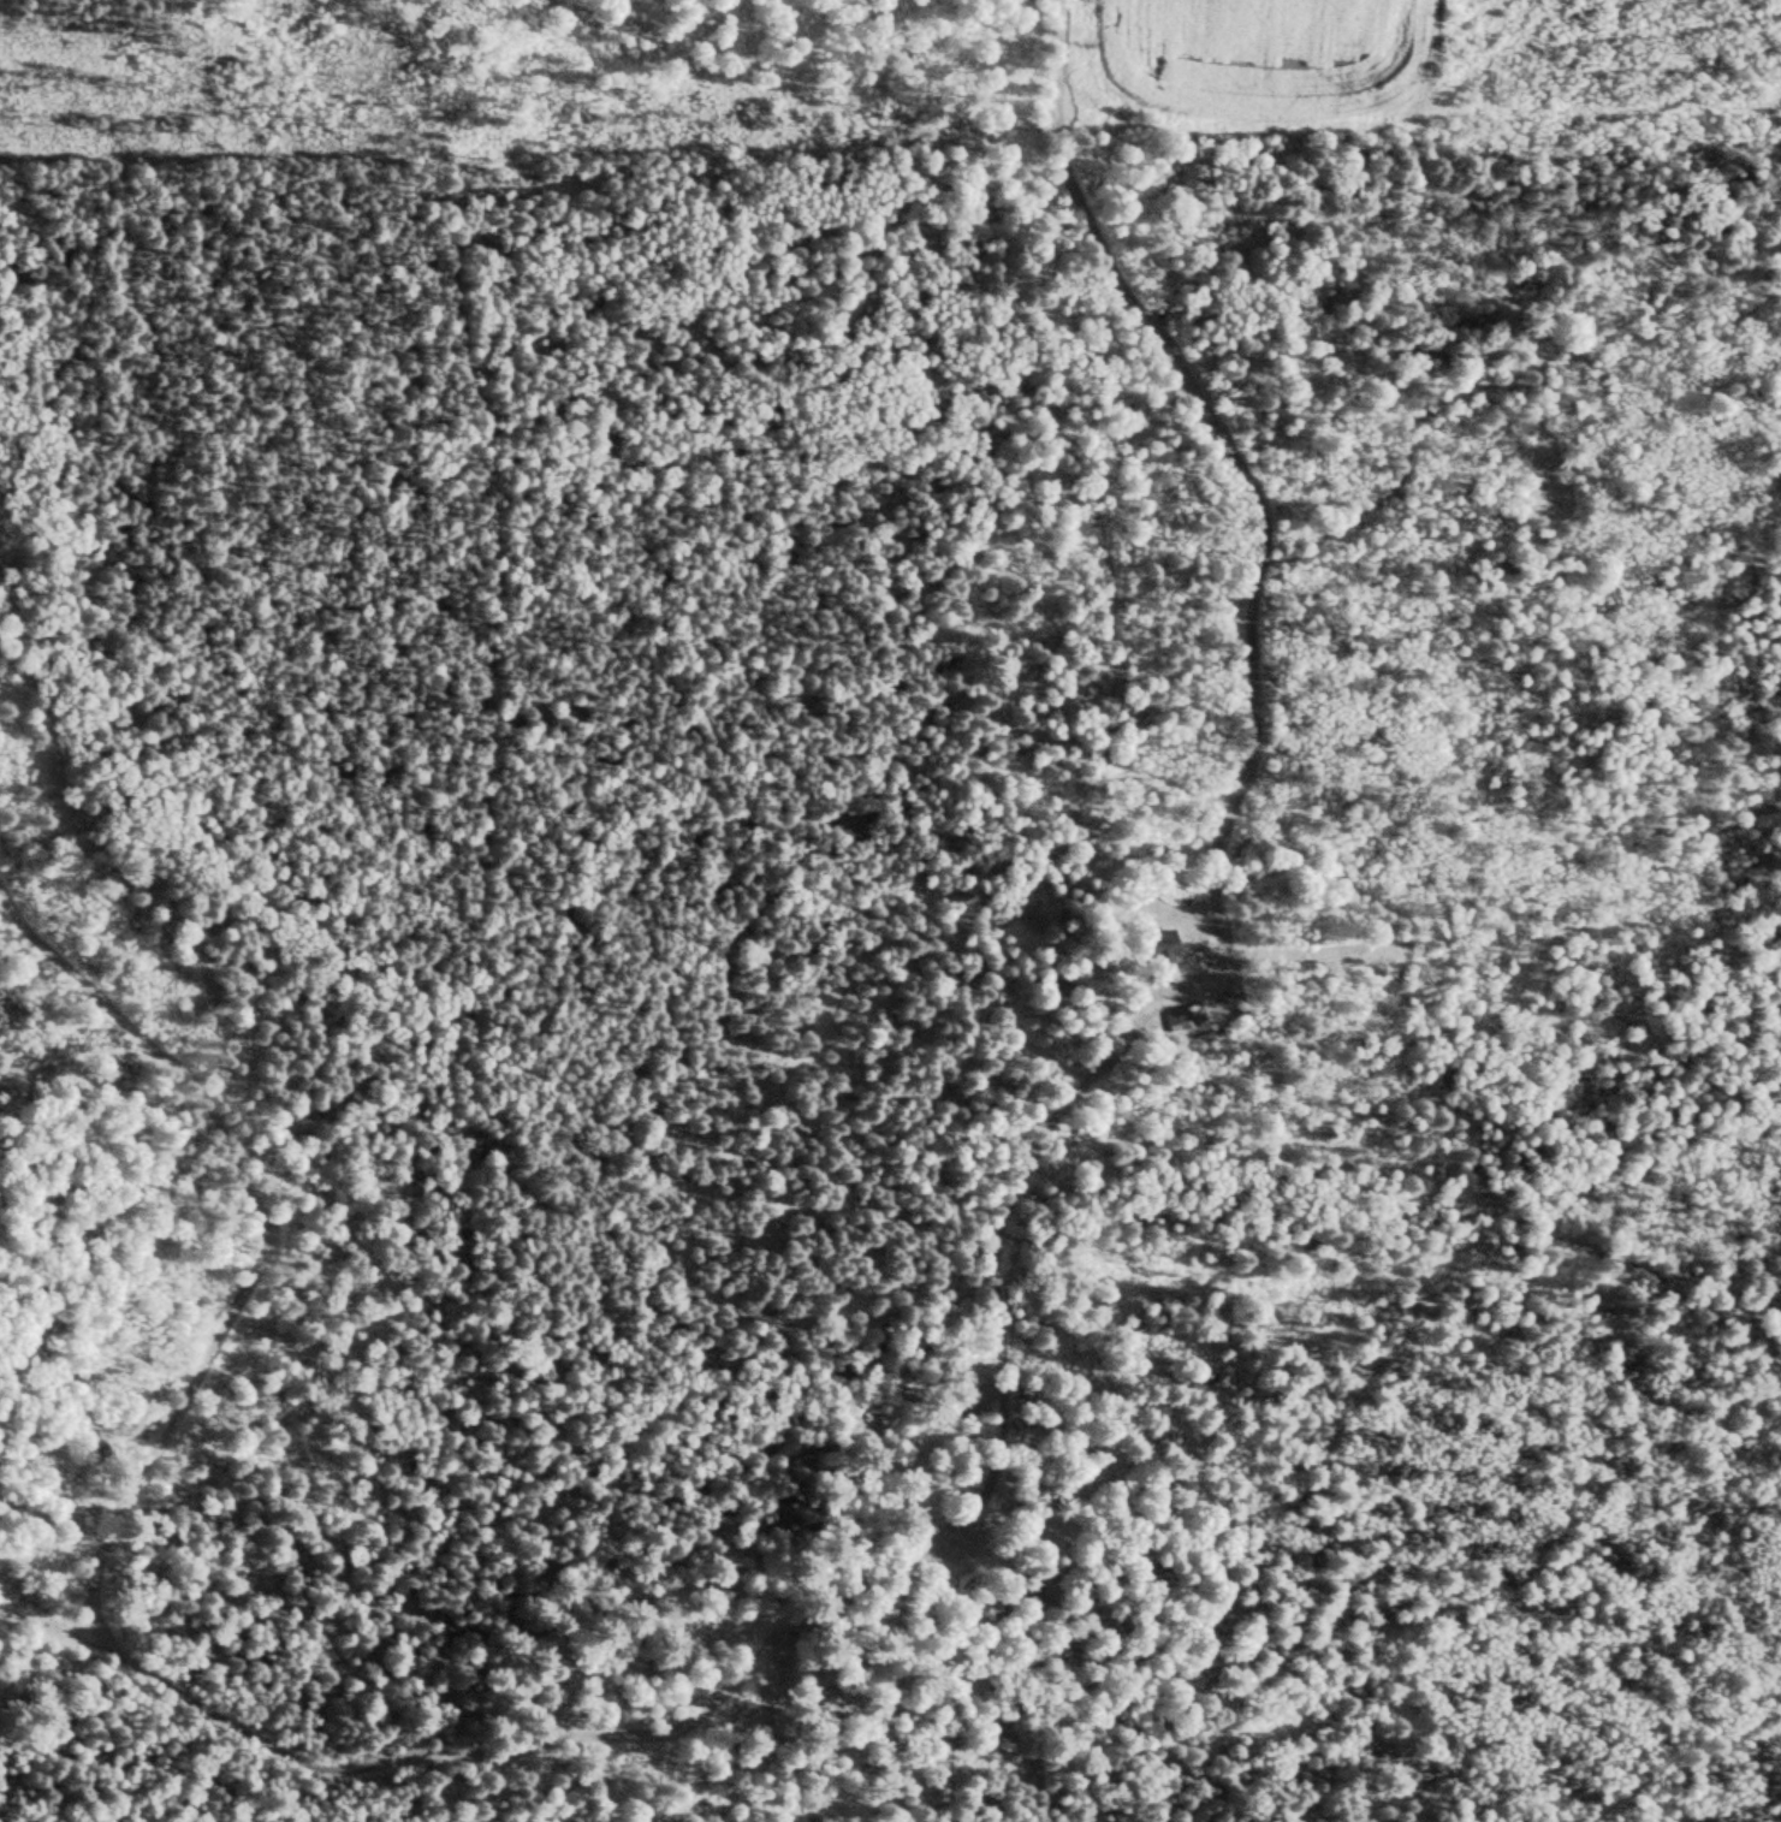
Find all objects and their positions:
building: (1159, 945)
building: (1187, 1017)

